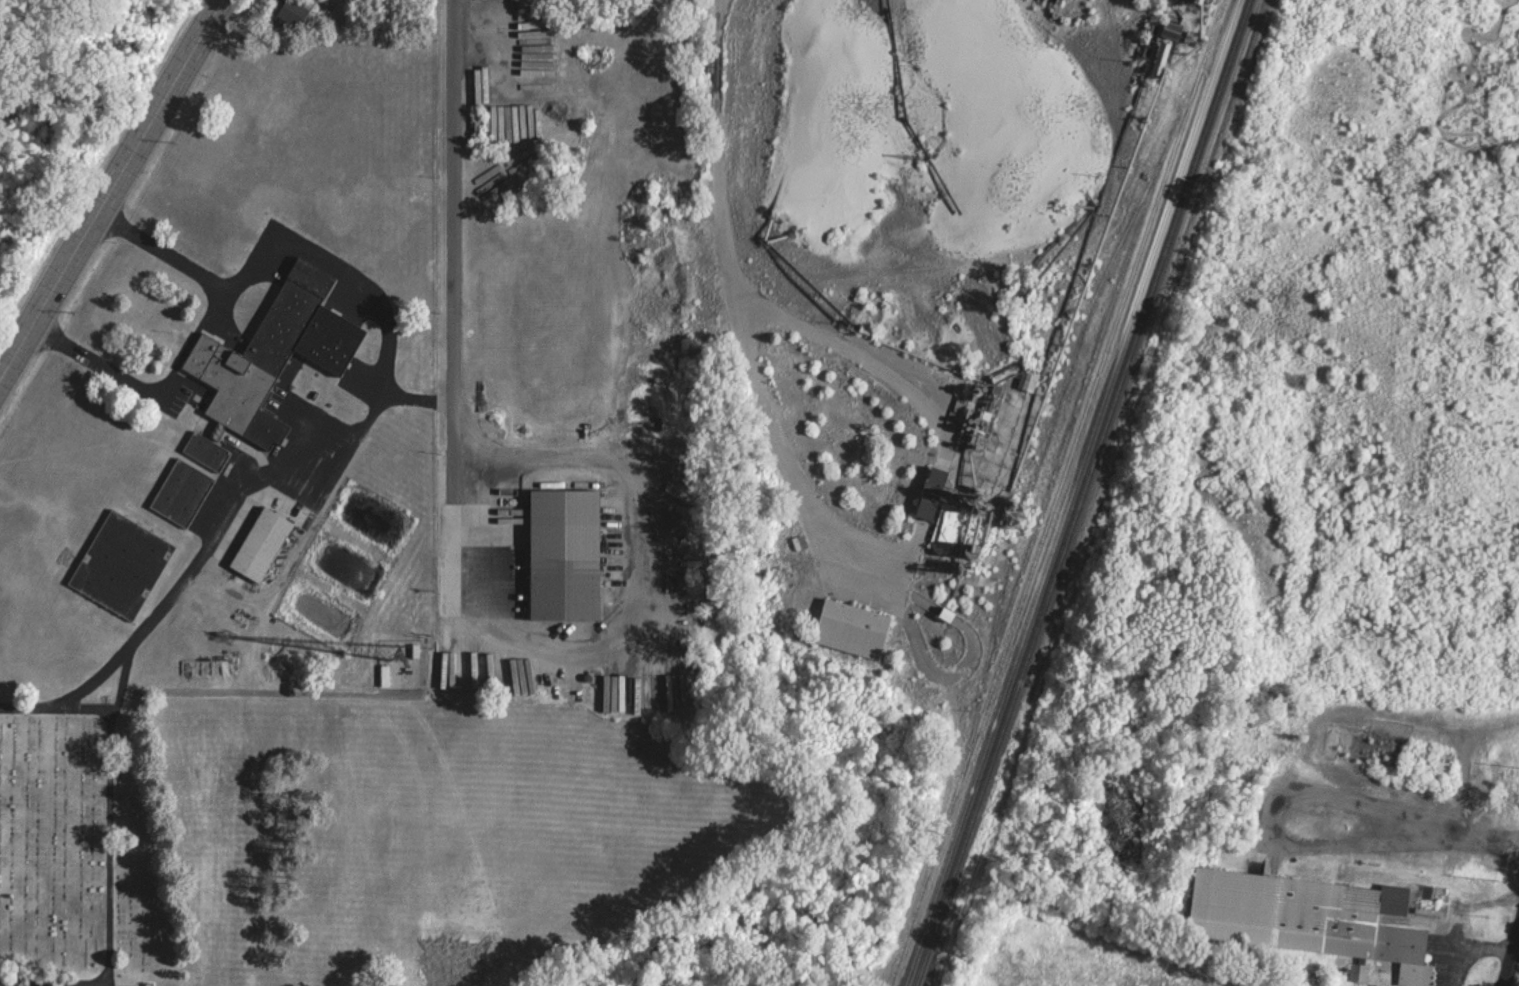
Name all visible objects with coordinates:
building: (292, 13)
building: (1172, 22)
building: (1160, 54)
road: (1070, 56)
road: (451, 79)
road: (110, 188)
road: (217, 312)
road: (454, 317)
building: (273, 353)
road: (200, 354)
road: (116, 374)
building: (1026, 381)
road: (364, 424)
building: (205, 451)
road: (267, 471)
building: (181, 492)
building: (930, 493)
railway: (1070, 493)
railway: (1082, 493)
building: (944, 526)
building: (799, 542)
building: (260, 544)
building: (563, 554)
building: (120, 564)
building: (851, 629)
road: (630, 648)
building: (218, 667)
road: (121, 684)
road: (271, 704)
road: (50, 719)
road: (1466, 759)
building: (1434, 766)
road: (1275, 823)
road: (1468, 834)
park: (458, 842)
road: (102, 852)
building: (1308, 918)
road: (1512, 963)
building: (1359, 971)

